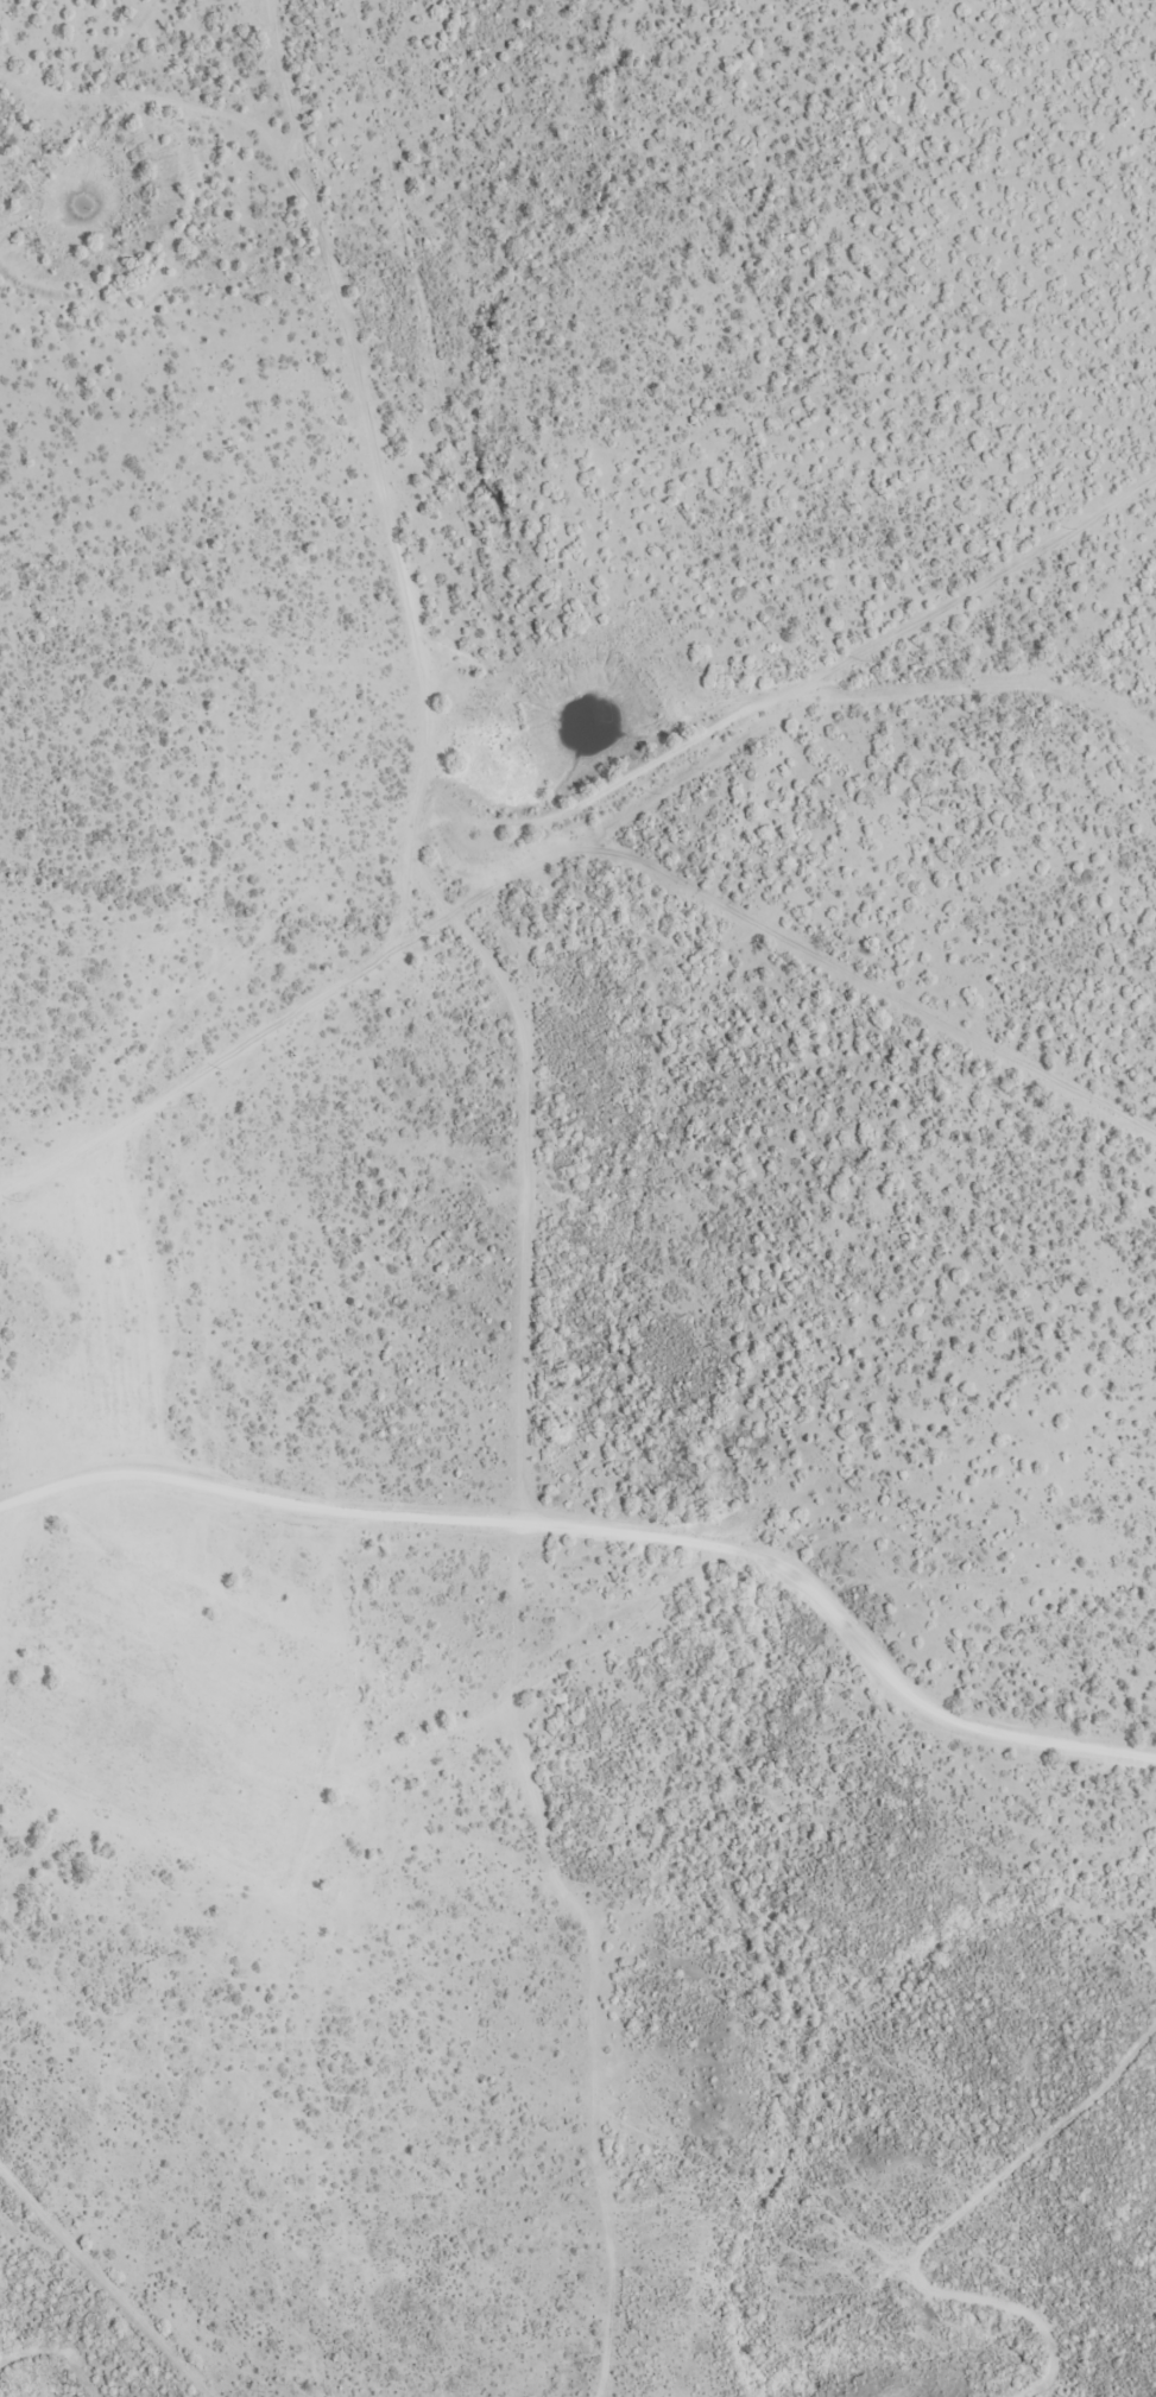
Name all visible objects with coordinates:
road: (485, 852)
road: (547, 1727)

